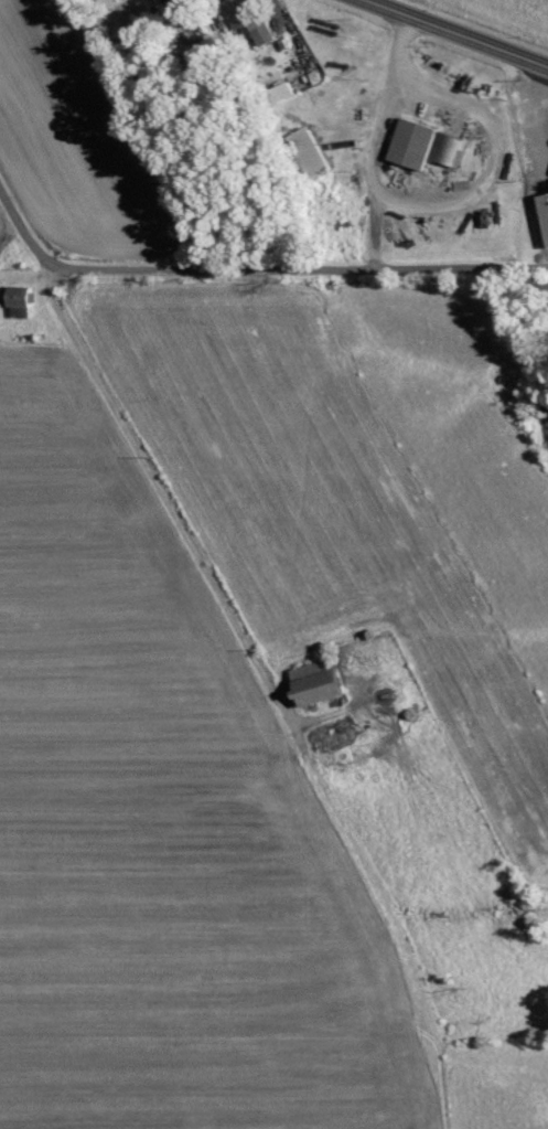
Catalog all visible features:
road: (460, 32)
building: (418, 143)
building: (451, 147)
building: (547, 199)
road: (24, 227)
road: (299, 267)
building: (26, 301)
road: (162, 490)
building: (311, 681)

